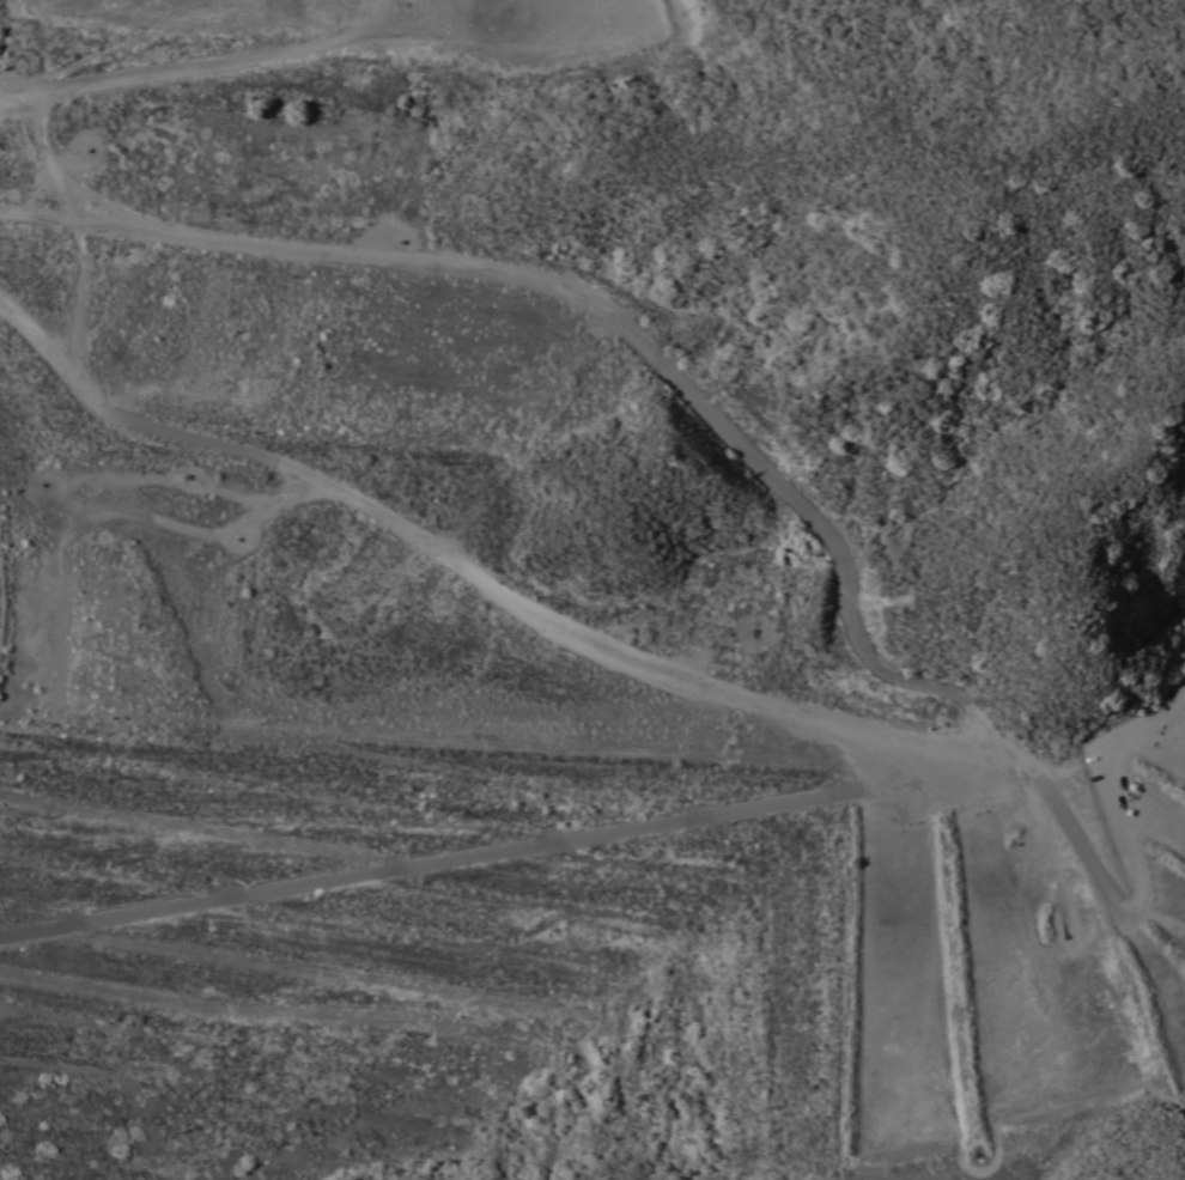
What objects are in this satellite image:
road: (174, 77)
road: (97, 233)
road: (731, 446)
road: (450, 558)
road: (499, 857)

